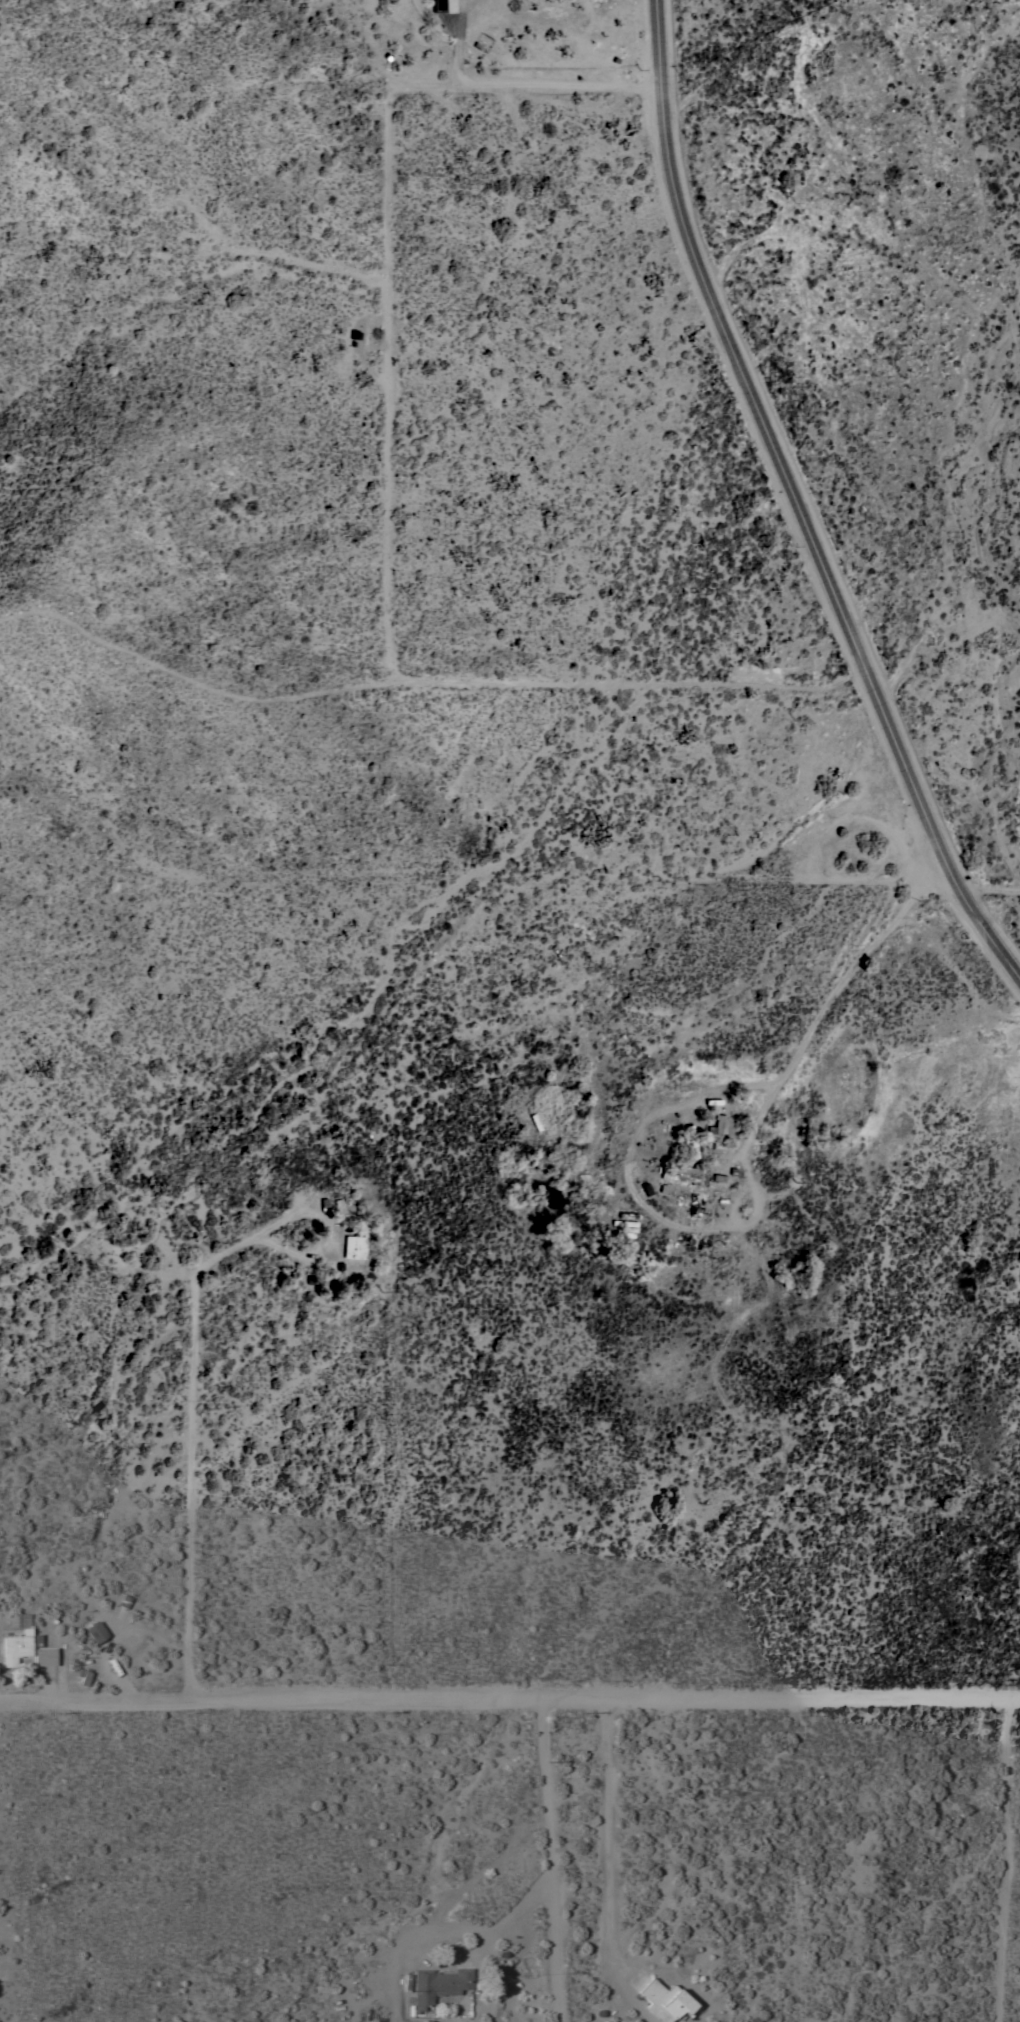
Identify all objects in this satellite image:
building: (444, 6)
road: (534, 84)
road: (795, 499)
road: (993, 892)
road: (828, 1001)
building: (716, 1130)
building: (692, 1141)
building: (686, 1173)
building: (355, 1246)
road: (192, 1430)
building: (97, 1633)
building: (18, 1642)
building: (44, 1657)
building: (84, 1675)
road: (509, 1701)
road: (606, 1841)
road: (546, 1861)
road: (1001, 1861)
road: (445, 1930)
building: (439, 1985)
building: (666, 2001)

